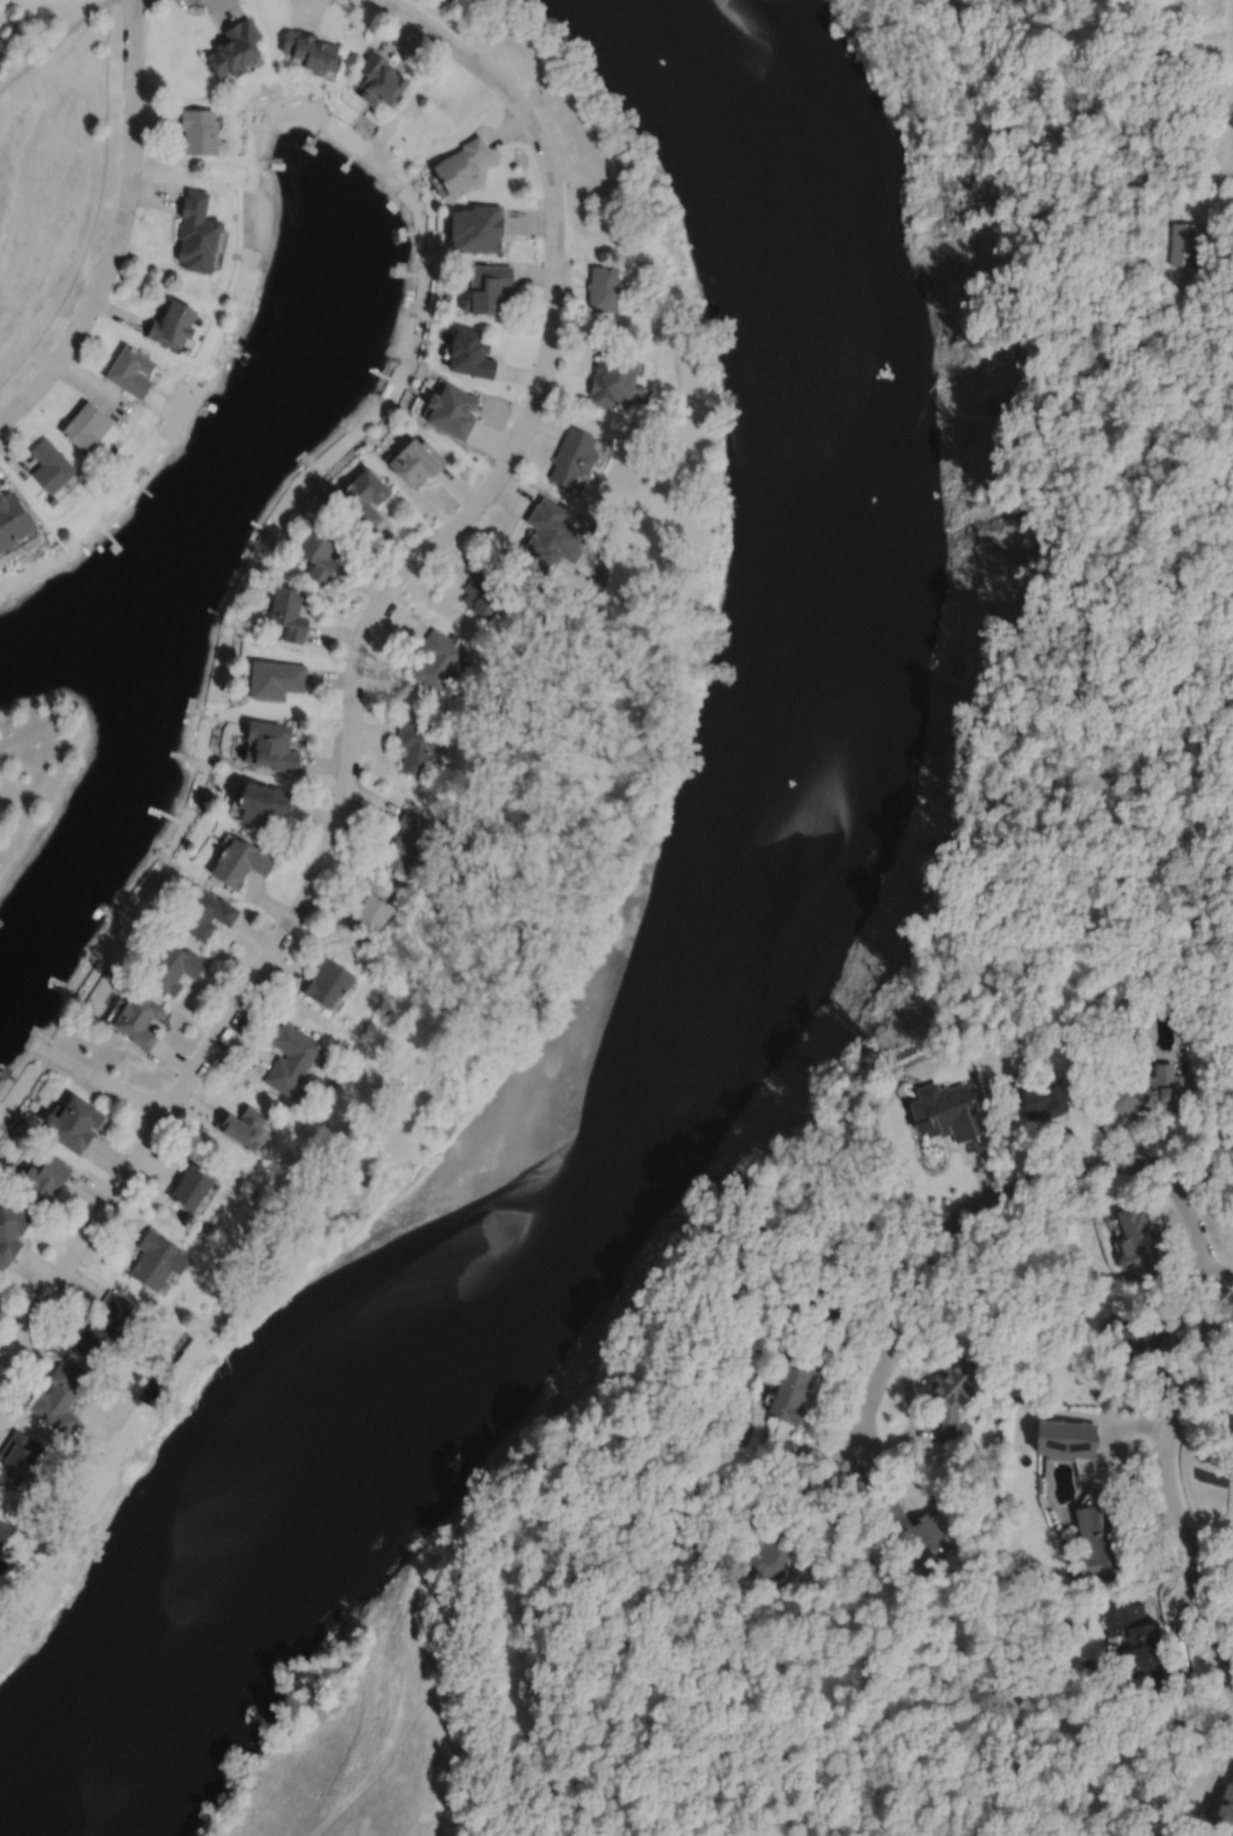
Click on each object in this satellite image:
street lamp: (147, 6)
road: (1229, 30)
street lamp: (464, 40)
road: (52, 42)
building: (233, 49)
building: (310, 52)
building: (378, 81)
building: (198, 131)
road: (1229, 159)
building: (460, 166)
road: (1219, 171)
street lamp: (136, 216)
road: (119, 228)
building: (476, 229)
building: (195, 234)
building: (1182, 245)
street lamp: (564, 256)
building: (487, 289)
building: (603, 289)
building: (170, 325)
building: (470, 356)
building: (128, 374)
building: (610, 381)
street lamp: (30, 411)
building: (451, 412)
building: (86, 428)
building: (573, 457)
building: (416, 463)
building: (51, 465)
street lamp: (516, 471)
building: (360, 498)
building: (52, 501)
building: (12, 518)
building: (548, 536)
building: (317, 550)
building: (482, 594)
building: (287, 612)
building: (438, 659)
road: (354, 661)
street lamp: (366, 670)
building: (274, 679)
building: (419, 745)
building: (270, 746)
park: (34, 767)
building: (259, 803)
building: (406, 841)
street lamp: (339, 846)
building: (239, 863)
building: (366, 913)
building: (204, 915)
building: (170, 968)
building: (327, 984)
river: (693, 991)
building: (135, 1020)
street lamp: (216, 1058)
building: (288, 1058)
road: (96, 1078)
building: (1143, 1089)
building: (1045, 1099)
building: (945, 1113)
building: (74, 1124)
building: (241, 1130)
building: (43, 1175)
building: (190, 1186)
building: (11, 1226)
building: (761, 1226)
building: (1138, 1239)
building: (158, 1259)
street lamp: (82, 1262)
building: (827, 1295)
building: (709, 1297)
road: (1211, 1319)
building: (104, 1326)
road: (897, 1335)
building: (1138, 1339)
road: (1161, 1374)
building: (791, 1390)
building: (59, 1396)
building: (952, 1396)
road: (912, 1413)
road: (1080, 1414)
building: (1065, 1437)
road: (1109, 1450)
building: (18, 1456)
building: (726, 1479)
road: (802, 1490)
building: (1, 1523)
building: (914, 1532)
building: (1099, 1535)
building: (0, 1541)
building: (764, 1554)
road: (852, 1642)
building: (1139, 1642)
road: (1181, 1673)
building: (1222, 1807)
road: (805, 1834)
road: (809, 1834)

